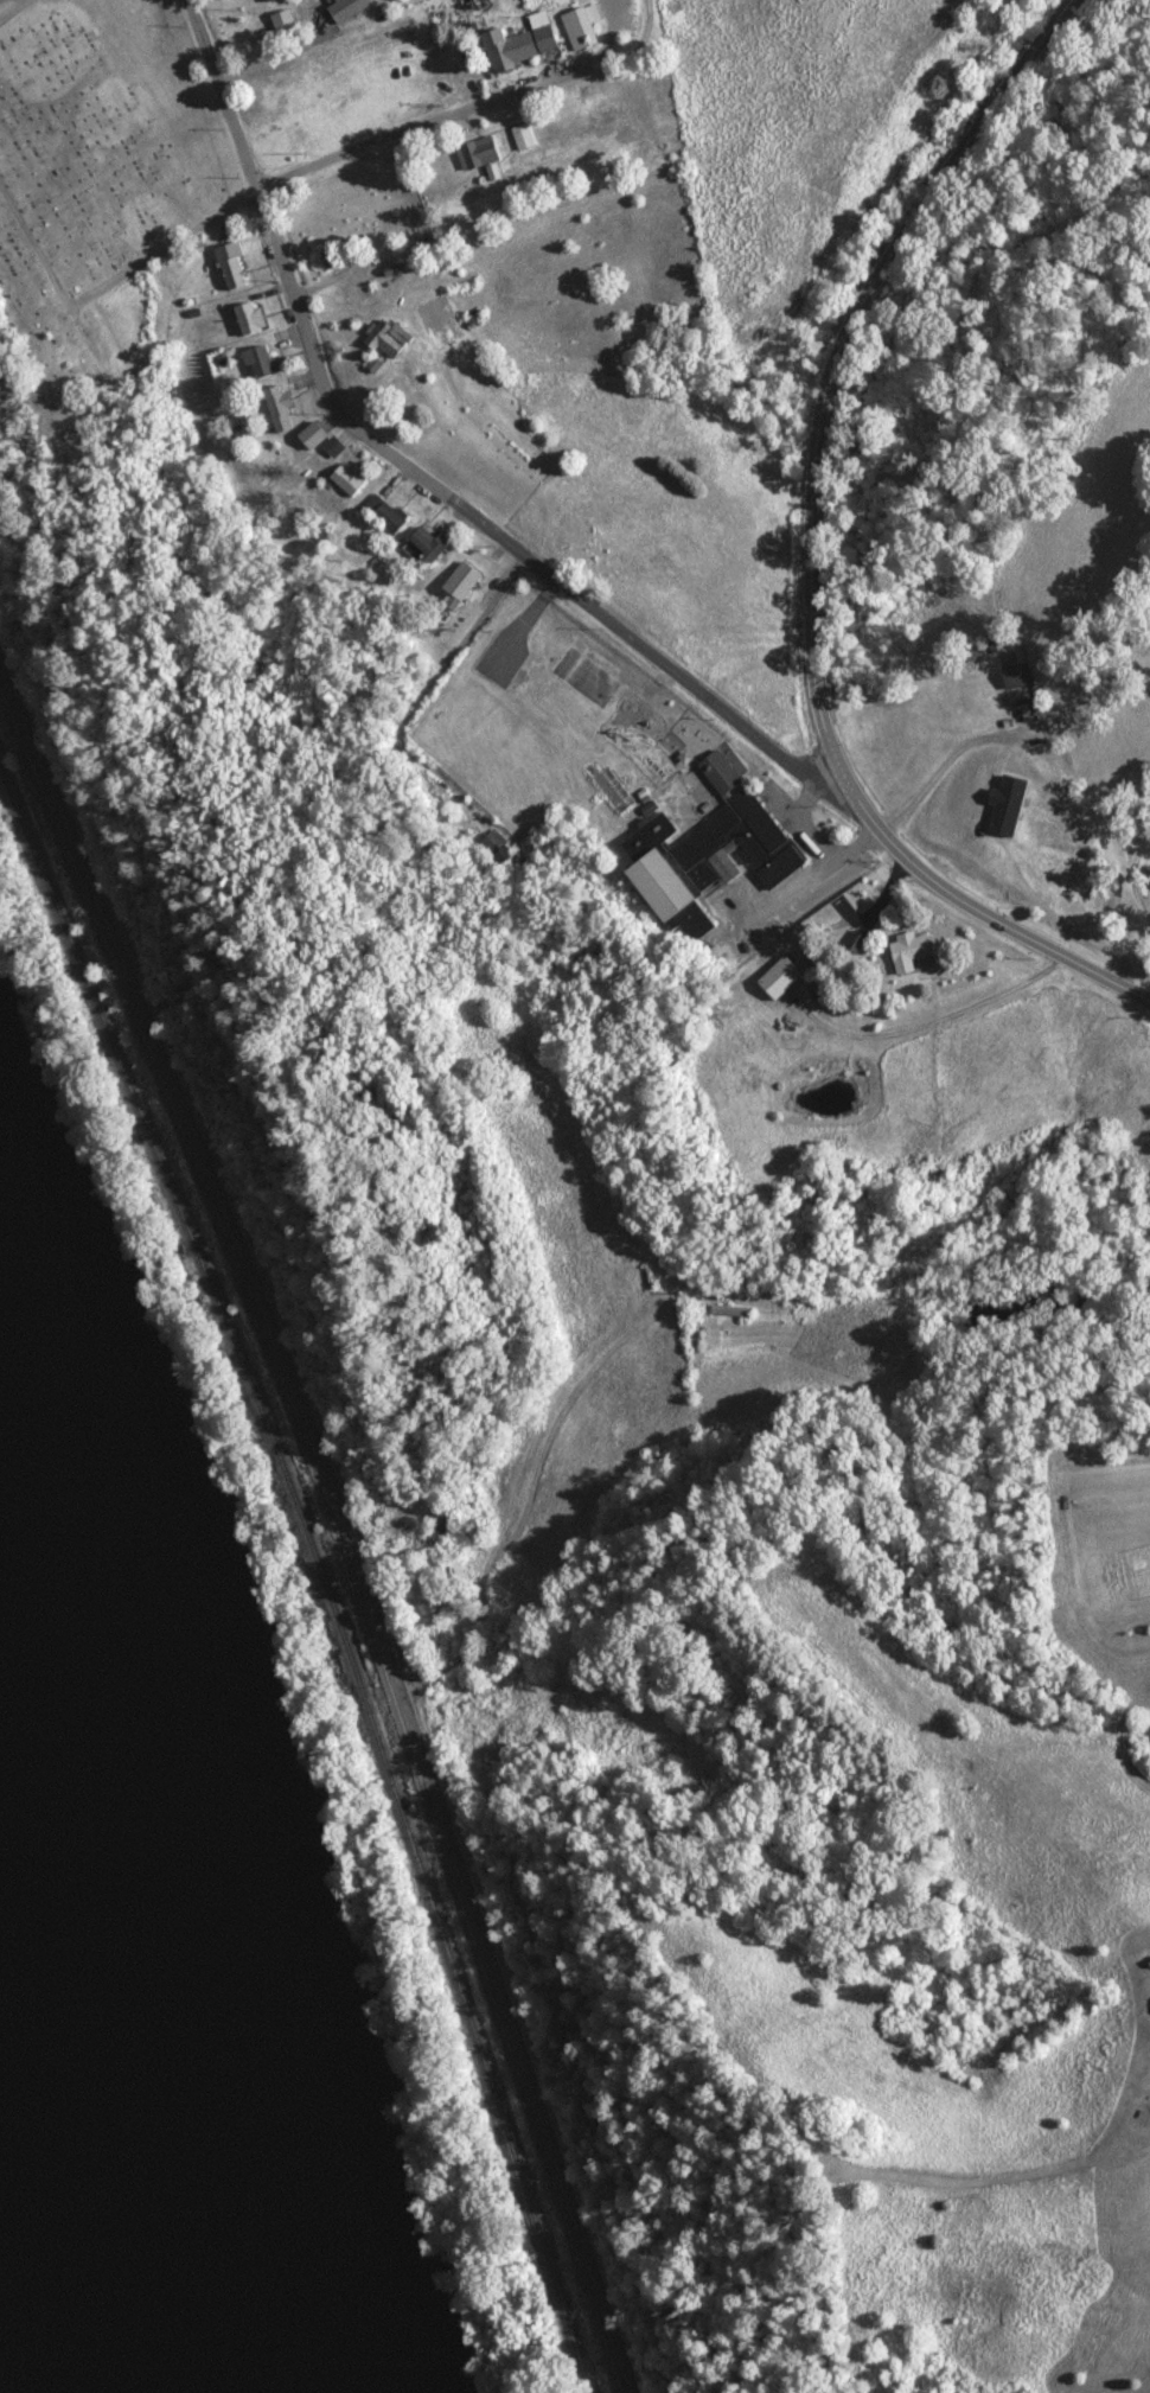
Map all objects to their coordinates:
building: (258, 1)
road: (11, 7)
building: (334, 9)
building: (568, 27)
building: (501, 47)
road: (468, 109)
building: (509, 138)
building: (462, 154)
building: (226, 274)
road: (115, 276)
building: (242, 318)
building: (378, 342)
building: (254, 364)
building: (274, 409)
building: (305, 438)
road: (409, 476)
building: (341, 480)
building: (382, 512)
building: (421, 547)
road: (810, 548)
building: (454, 591)
building: (1008, 676)
building: (705, 863)
road: (1135, 873)
building: (896, 950)
road: (194, 1132)
railway: (322, 1569)
building: (433, 1609)
road: (504, 1996)
river: (94, 2106)
road: (1114, 2116)

